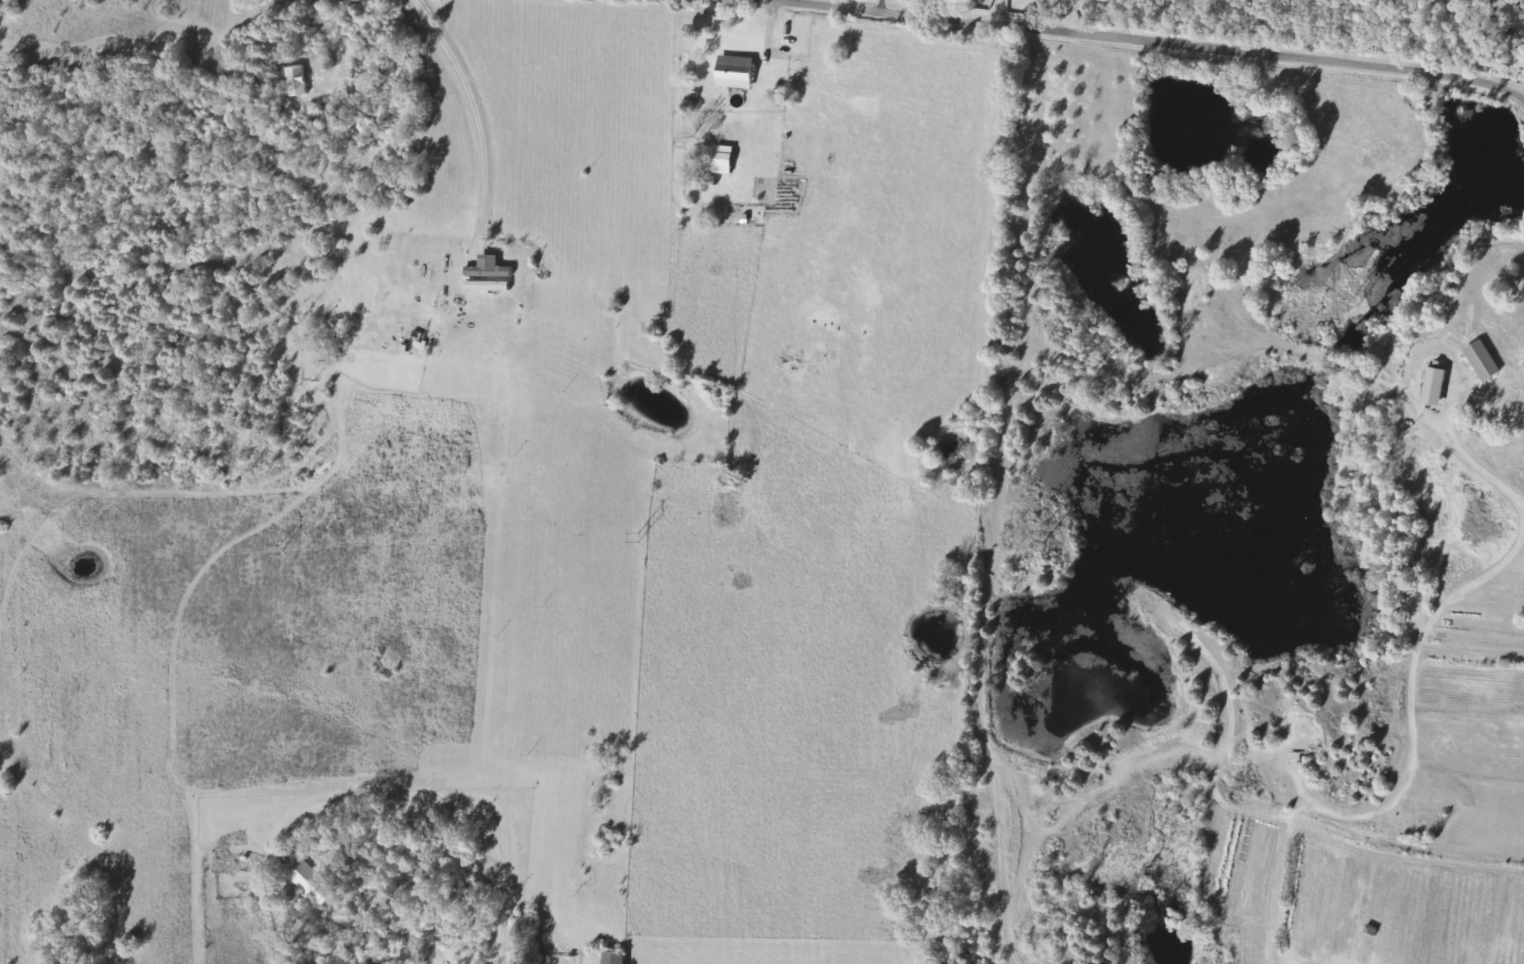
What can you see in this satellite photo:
road: (1237, 51)
building: (736, 72)
building: (297, 81)
building: (724, 160)
building: (489, 278)
road: (556, 281)
power tower: (1354, 304)
building: (1483, 360)
building: (1435, 386)
power tower: (1041, 530)
power tower: (639, 536)
power tower: (282, 548)
road: (509, 878)
building: (312, 884)
building: (614, 958)

